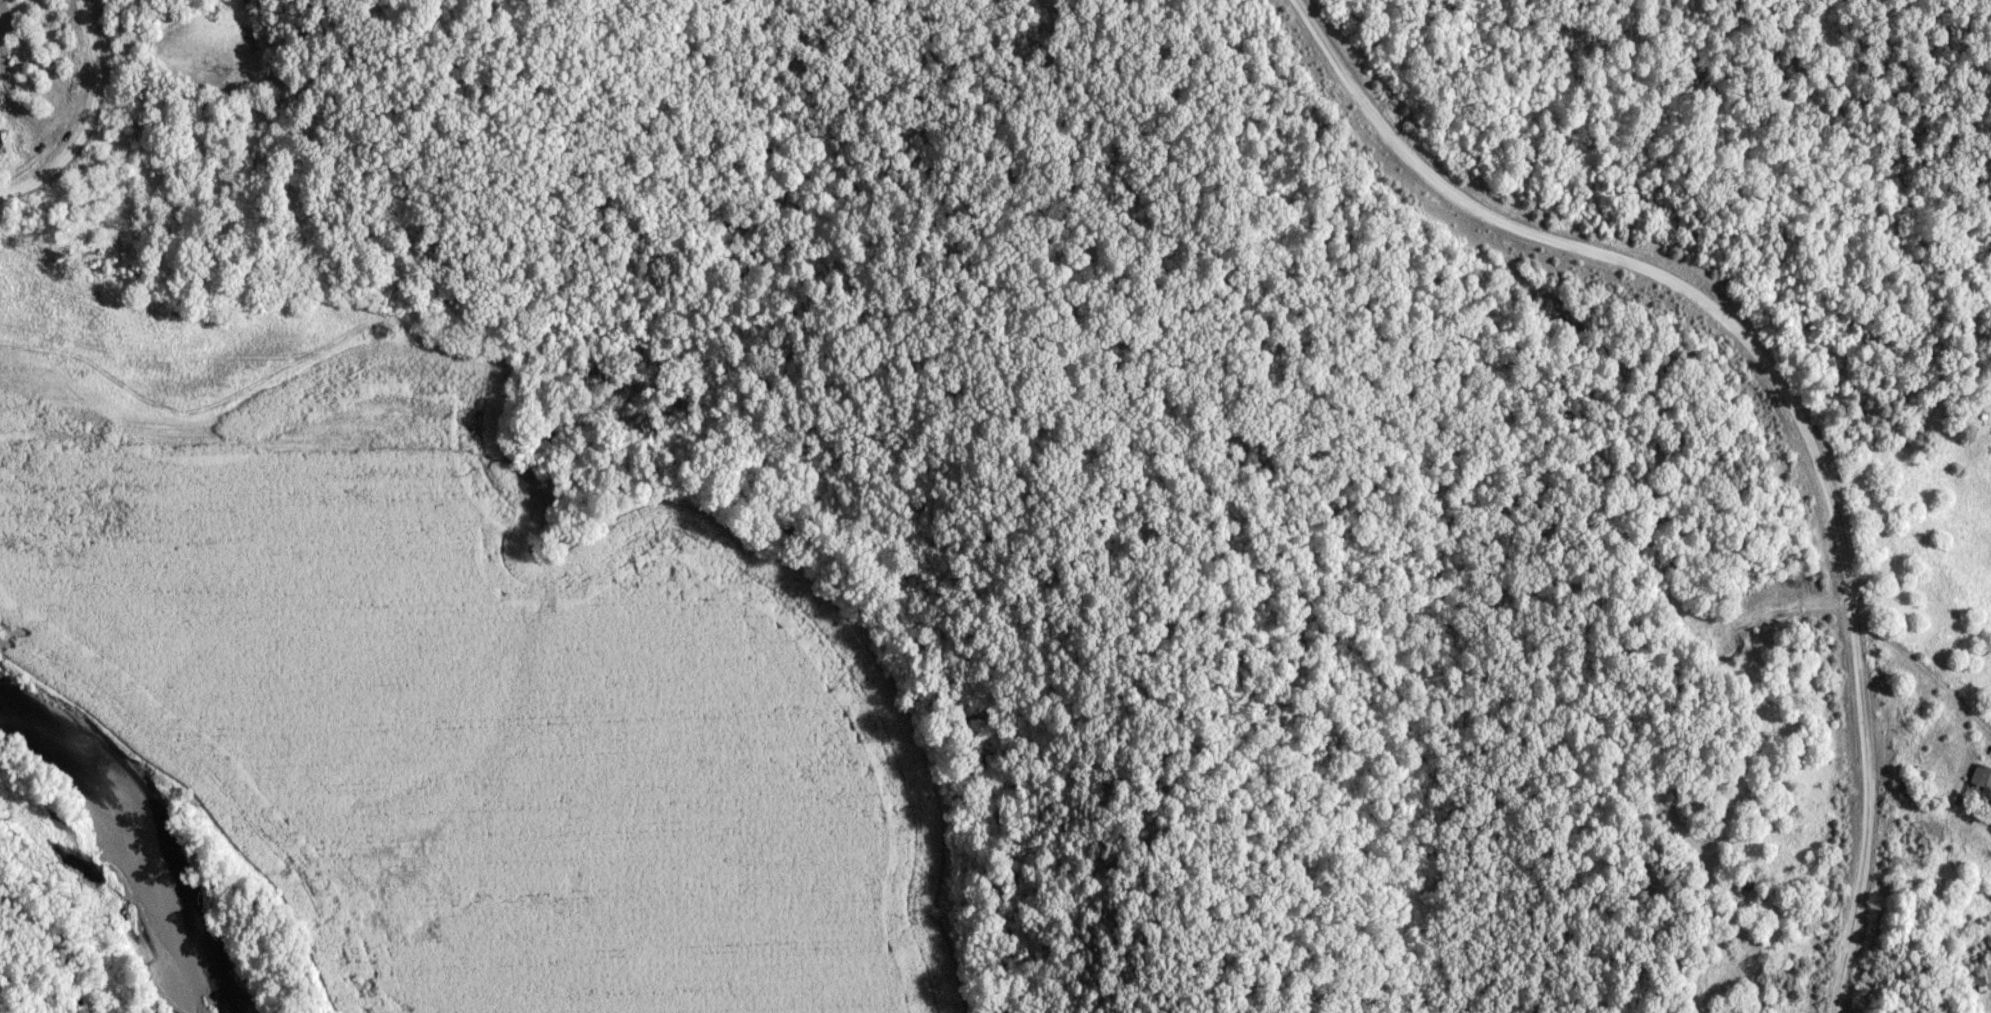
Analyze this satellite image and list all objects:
road: (75, 117)
road: (1634, 268)
road: (1929, 674)
building: (1980, 788)
road: (1857, 824)

